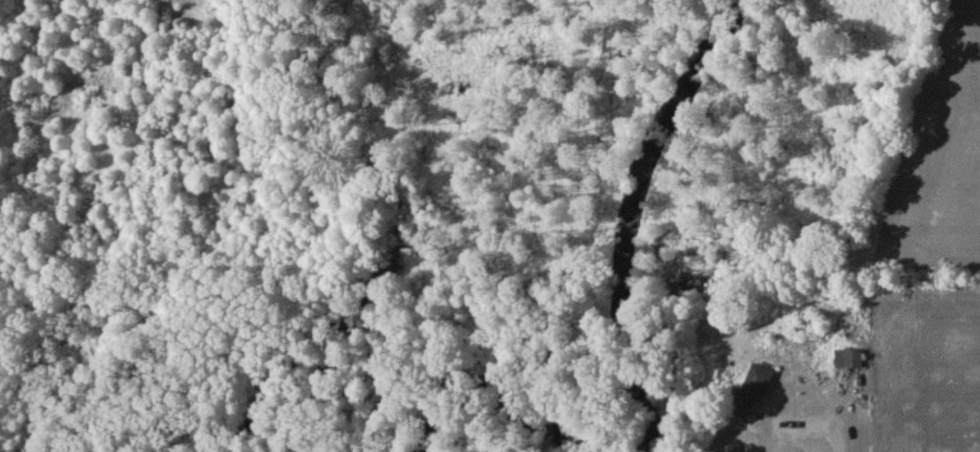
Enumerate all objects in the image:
building: (849, 362)
building: (755, 392)
road: (809, 426)

